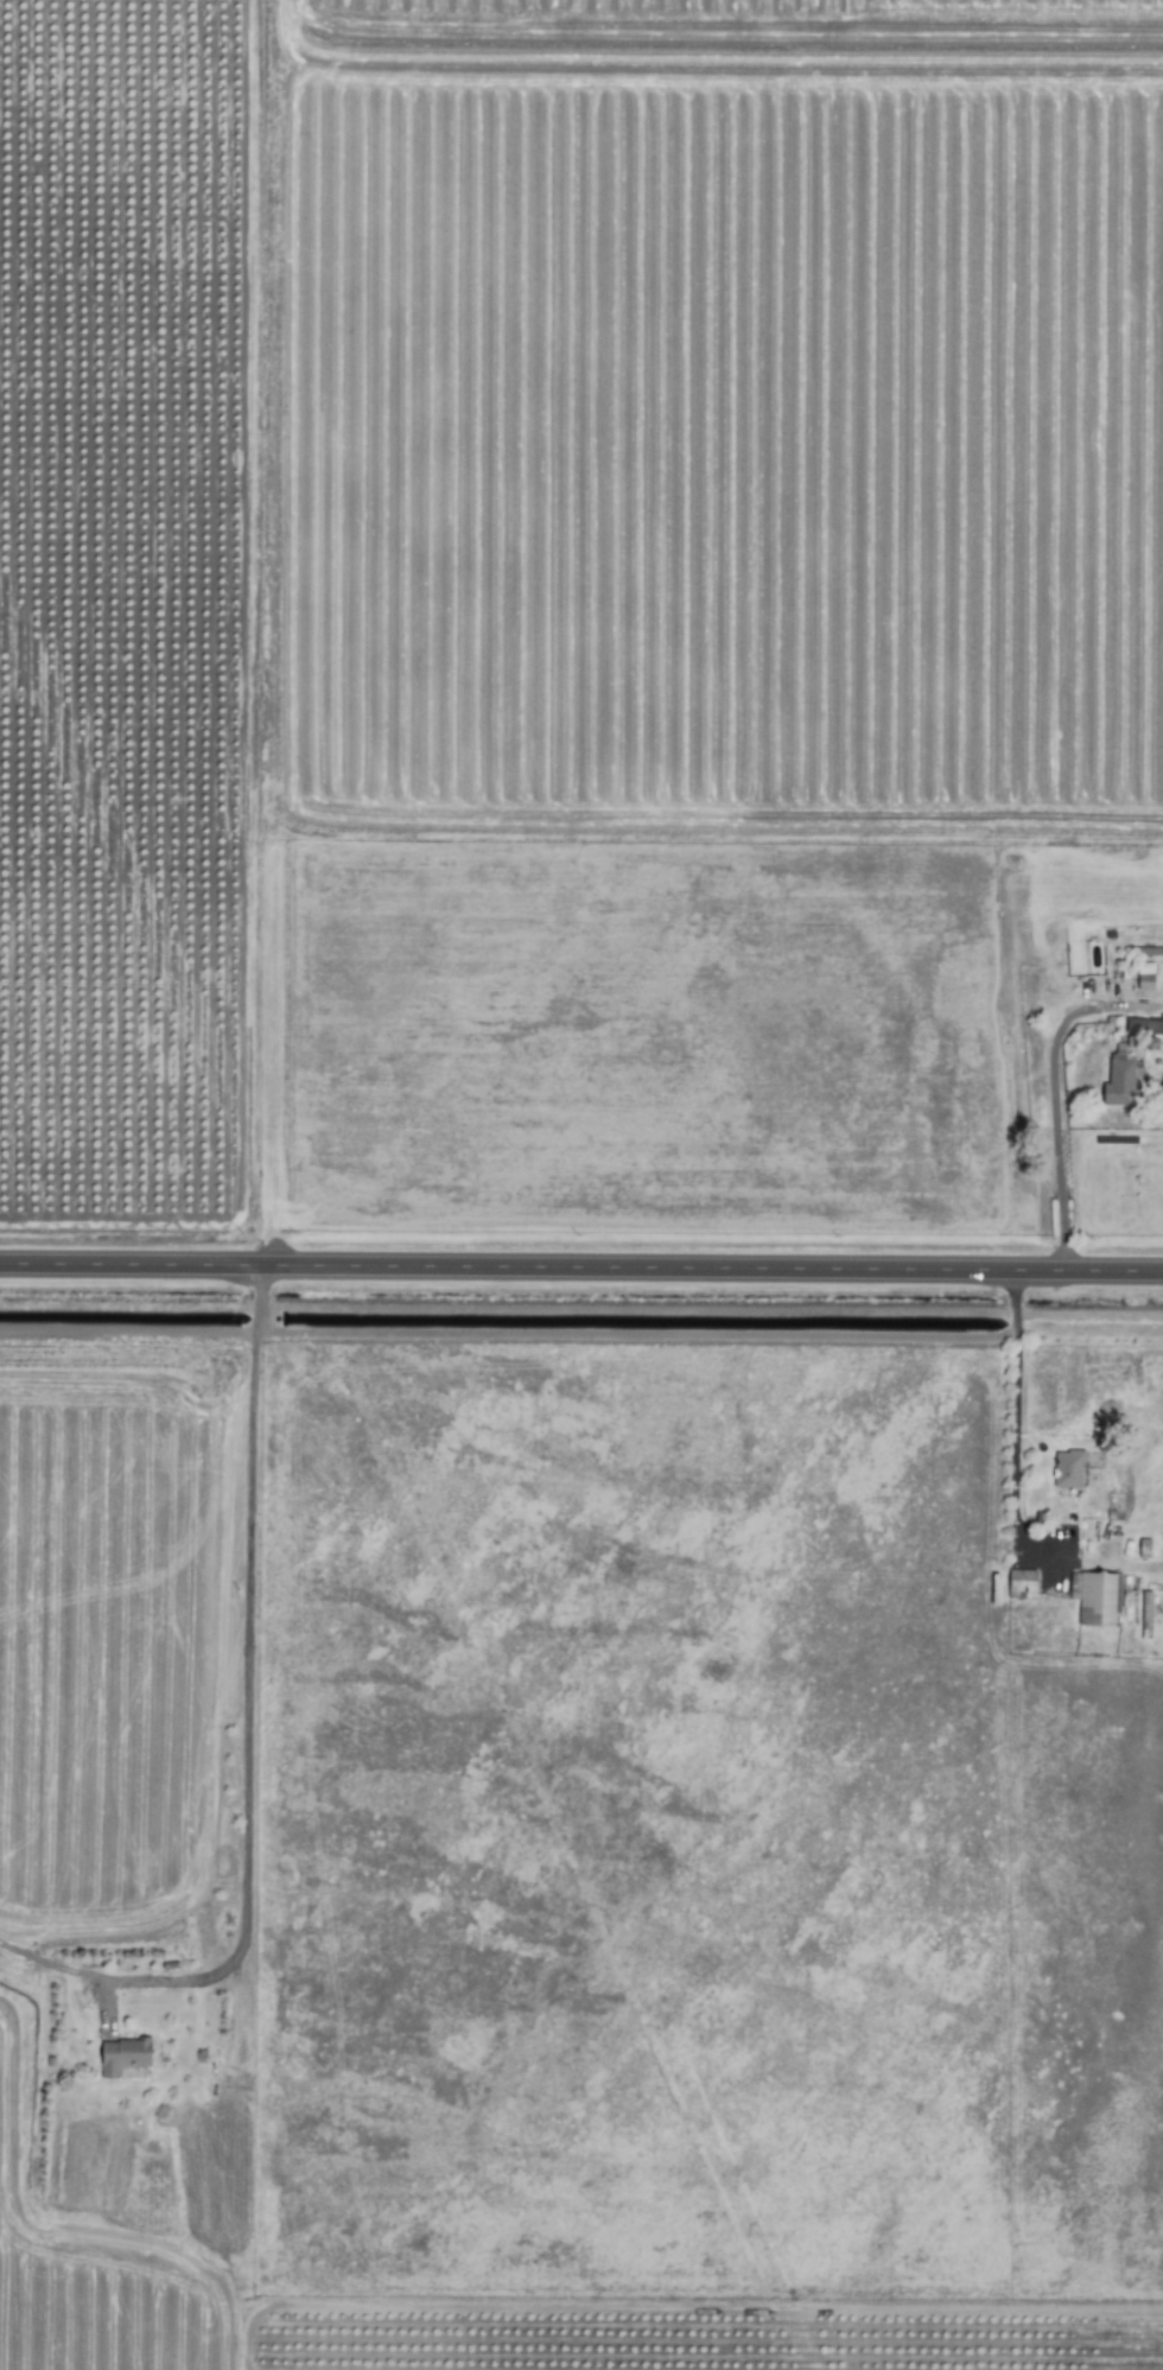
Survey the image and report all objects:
building: (1120, 1082)
road: (1054, 1091)
road: (581, 1262)
road: (1013, 1277)
road: (1015, 1302)
road: (127, 1332)
road: (1015, 1437)
building: (1067, 1469)
building: (1019, 1583)
building: (1100, 1599)
road: (246, 1739)
building: (122, 2056)

